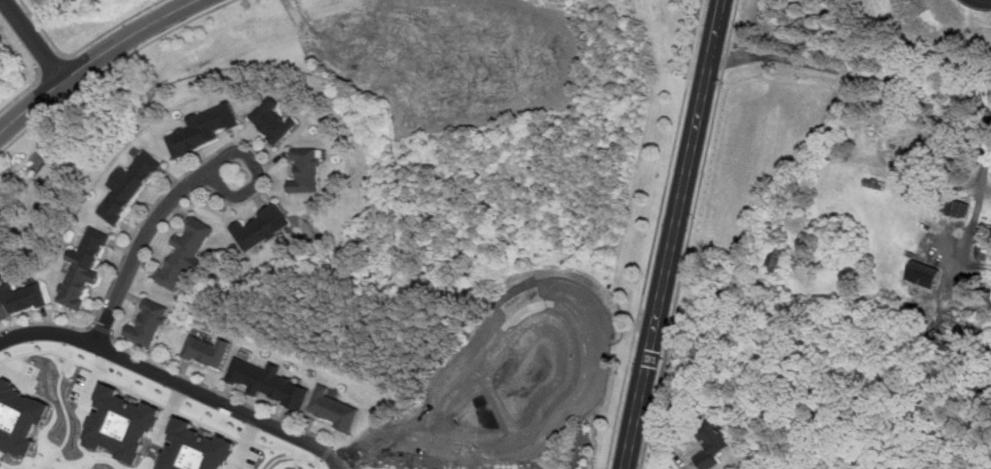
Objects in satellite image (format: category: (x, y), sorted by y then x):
road: (987, 0)
road: (34, 39)
road: (82, 46)
road: (65, 54)
road: (93, 59)
road: (52, 65)
road: (111, 66)
road: (927, 85)
road: (47, 90)
road: (21, 91)
building: (272, 120)
building: (204, 128)
road: (210, 170)
building: (306, 171)
building: (129, 185)
building: (957, 206)
building: (262, 227)
road: (656, 234)
road: (671, 234)
road: (688, 234)
road: (139, 246)
building: (186, 254)
building: (775, 257)
building: (83, 268)
building: (923, 272)
building: (21, 298)
building: (149, 322)
building: (208, 351)
road: (97, 378)
road: (176, 381)
building: (268, 382)
road: (235, 398)
building: (335, 409)
building: (19, 417)
building: (121, 423)
building: (714, 440)
road: (246, 443)
building: (196, 448)
building: (755, 468)

